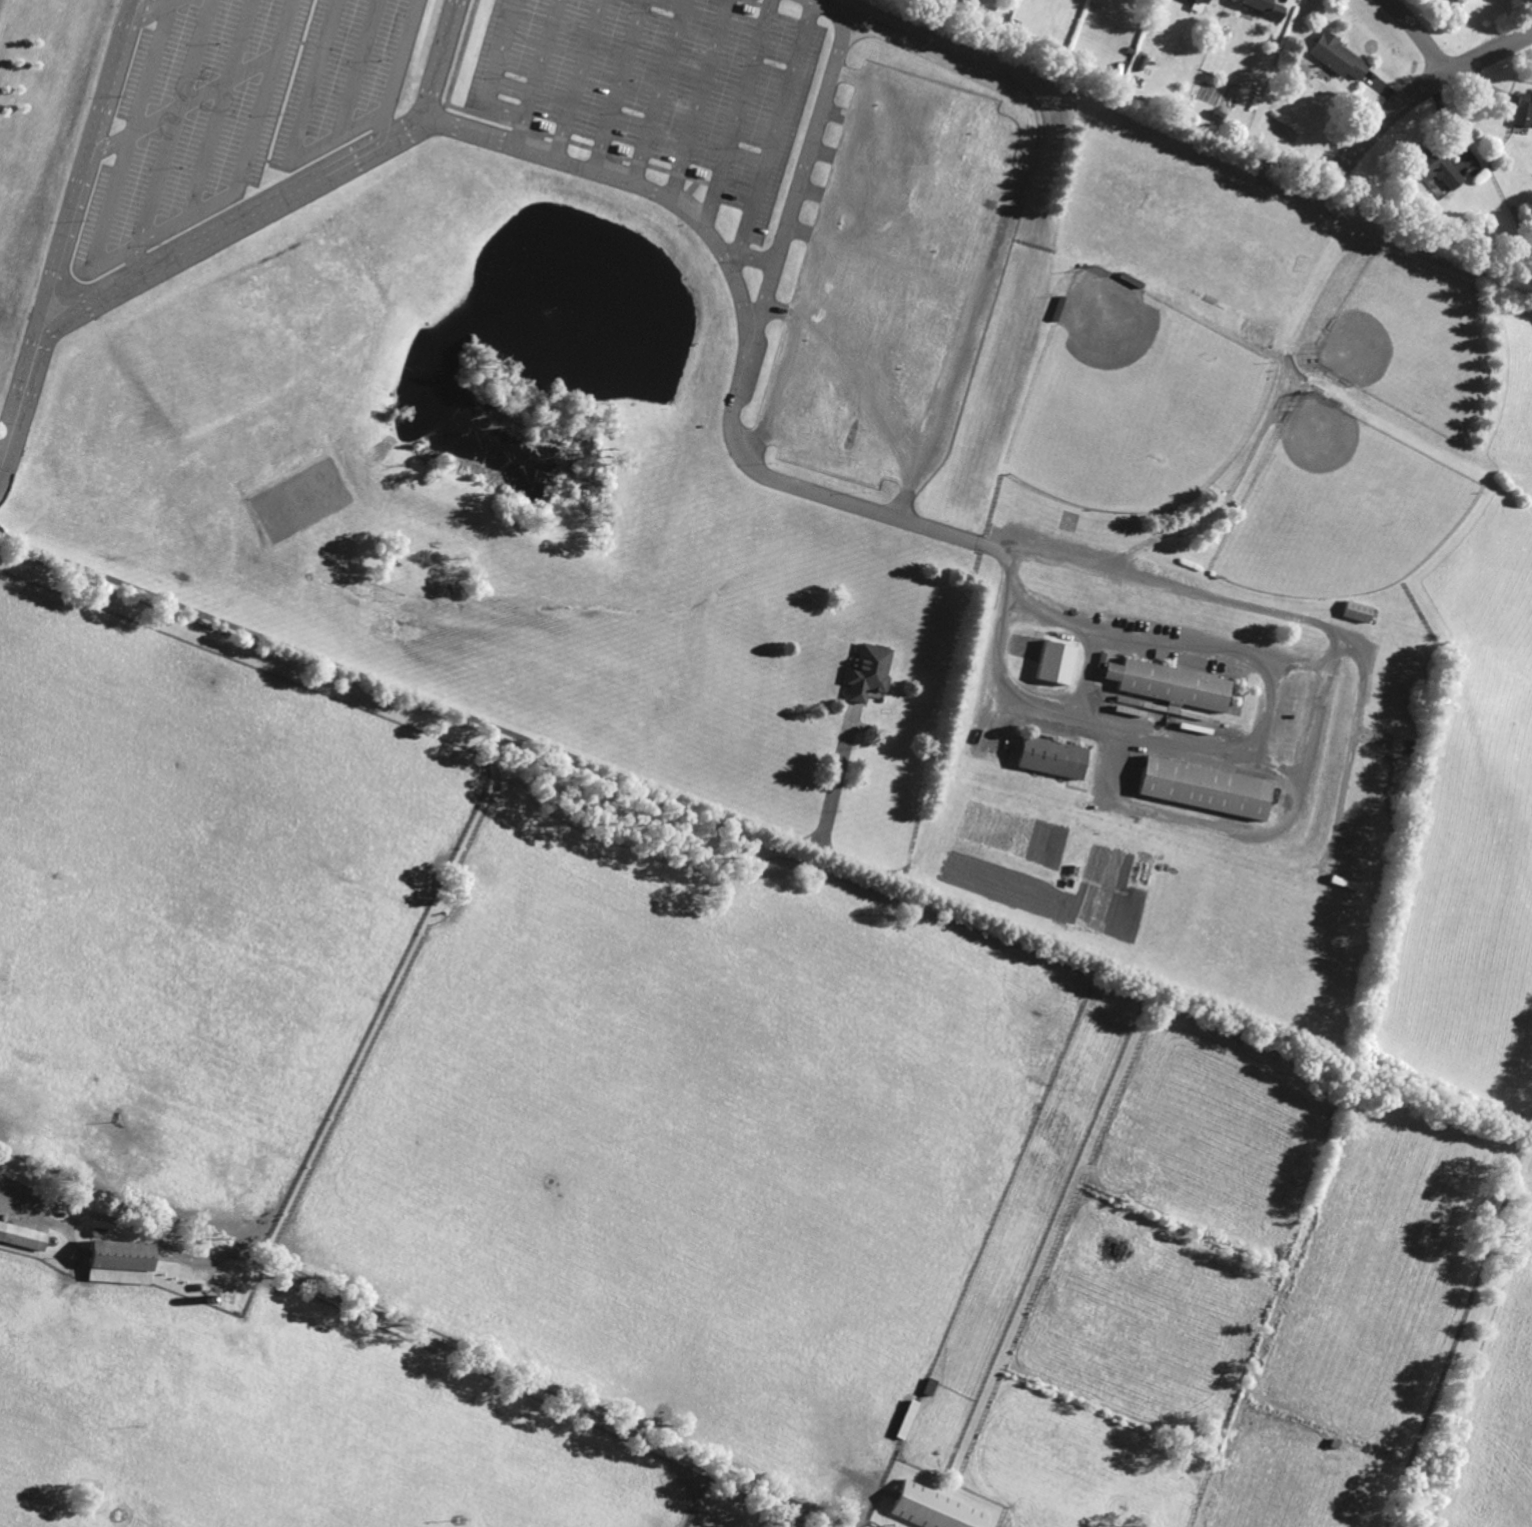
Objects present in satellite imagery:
building: (1202, 1)
building: (1264, 7)
road: (145, 8)
road: (1418, 37)
building: (1338, 57)
road: (1490, 59)
road: (442, 60)
road: (362, 69)
road: (401, 71)
road: (184, 103)
road: (226, 108)
building: (1524, 109)
road: (179, 120)
road: (1392, 121)
road: (301, 132)
road: (564, 157)
building: (1438, 164)
road: (798, 177)
road: (1011, 202)
road: (69, 227)
road: (140, 243)
building: (1259, 331)
building: (1358, 611)
building: (1056, 662)
building: (869, 672)
building: (1172, 684)
road: (469, 717)
road: (1311, 744)
building: (1052, 757)
building: (1205, 787)
building: (23, 1236)
building: (120, 1261)
road: (424, 1337)
road: (1453, 1343)
building: (933, 1508)

